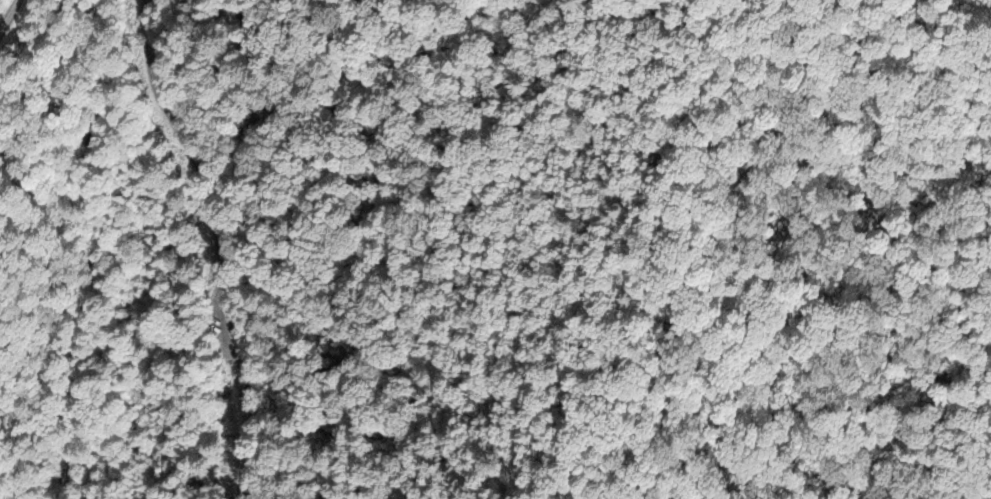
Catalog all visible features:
road: (8, 15)
road: (400, 242)
road: (219, 245)

